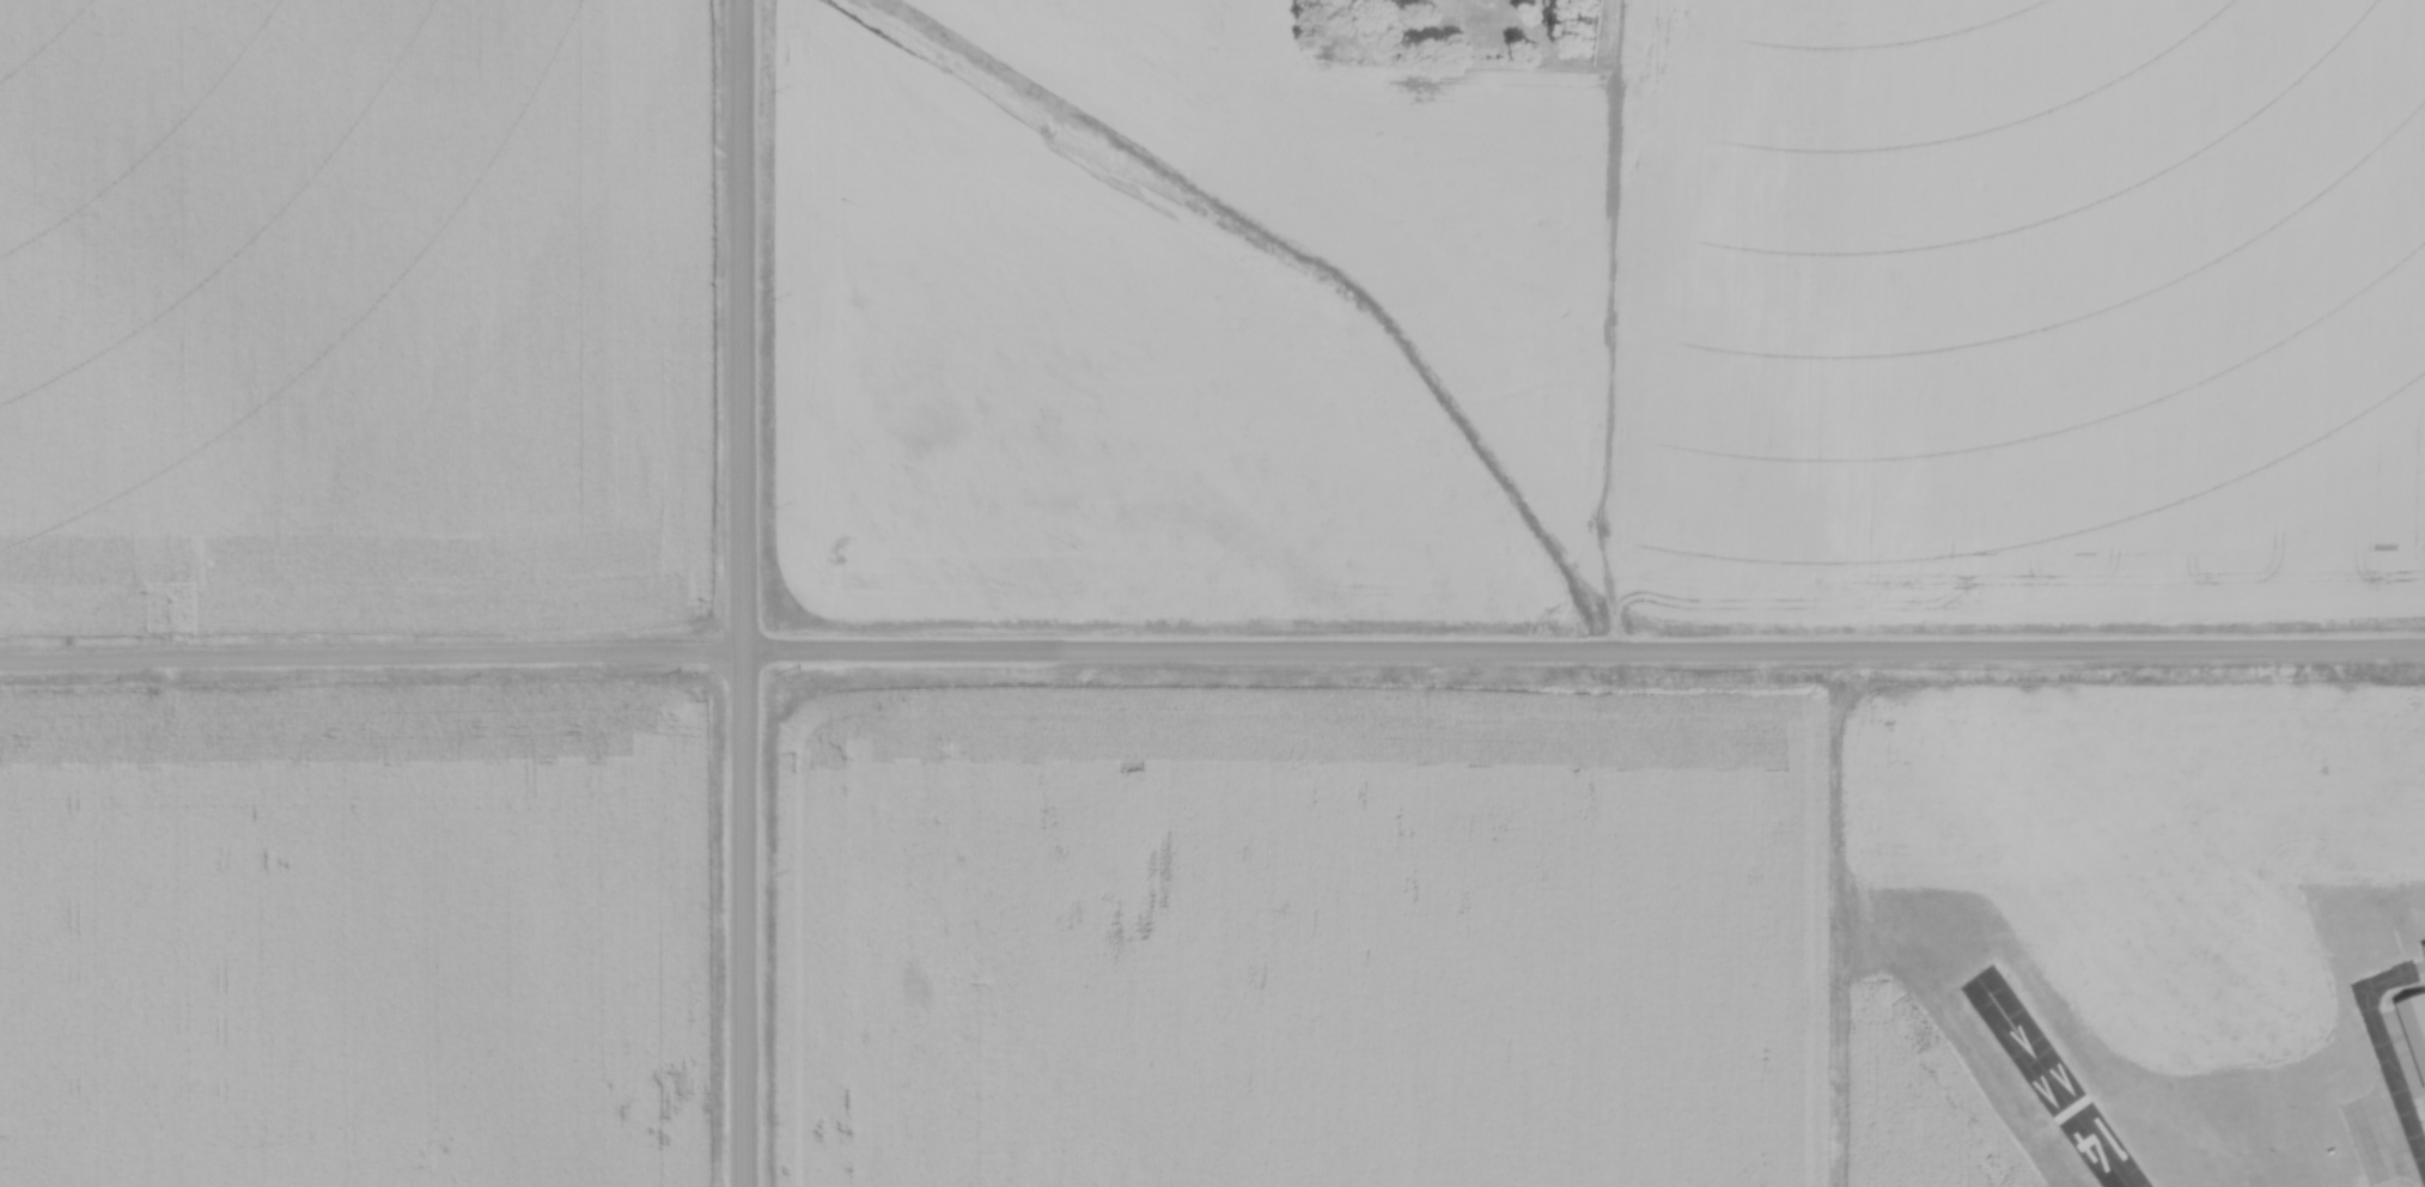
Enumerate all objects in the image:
road: (742, 328)
road: (1212, 653)
road: (743, 921)
airport: (2010, 1047)
airport taxiway: (2383, 1048)
airport runway: (2053, 1081)
crop: (1923, 1113)
airport apron: (2384, 1132)

